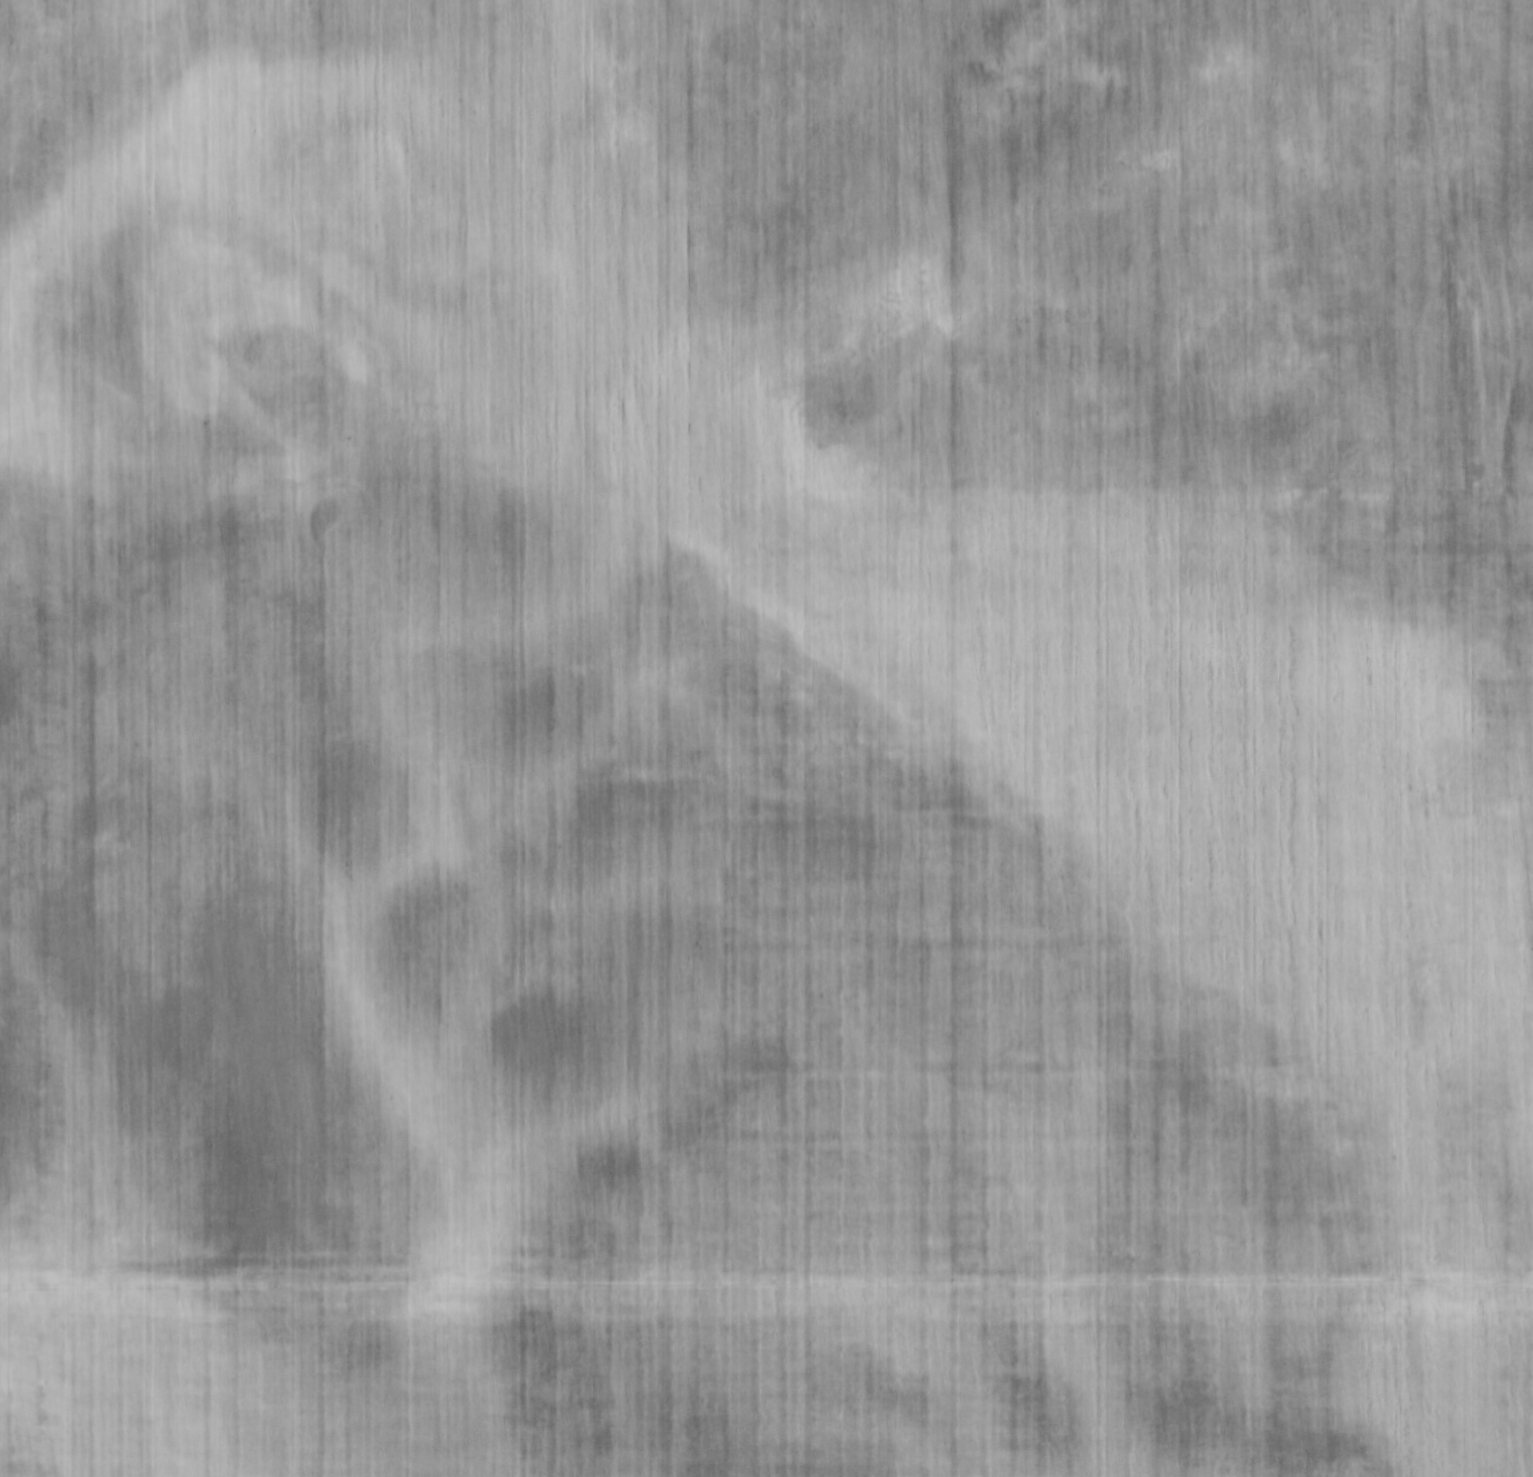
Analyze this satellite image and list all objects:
road: (766, 1305)

